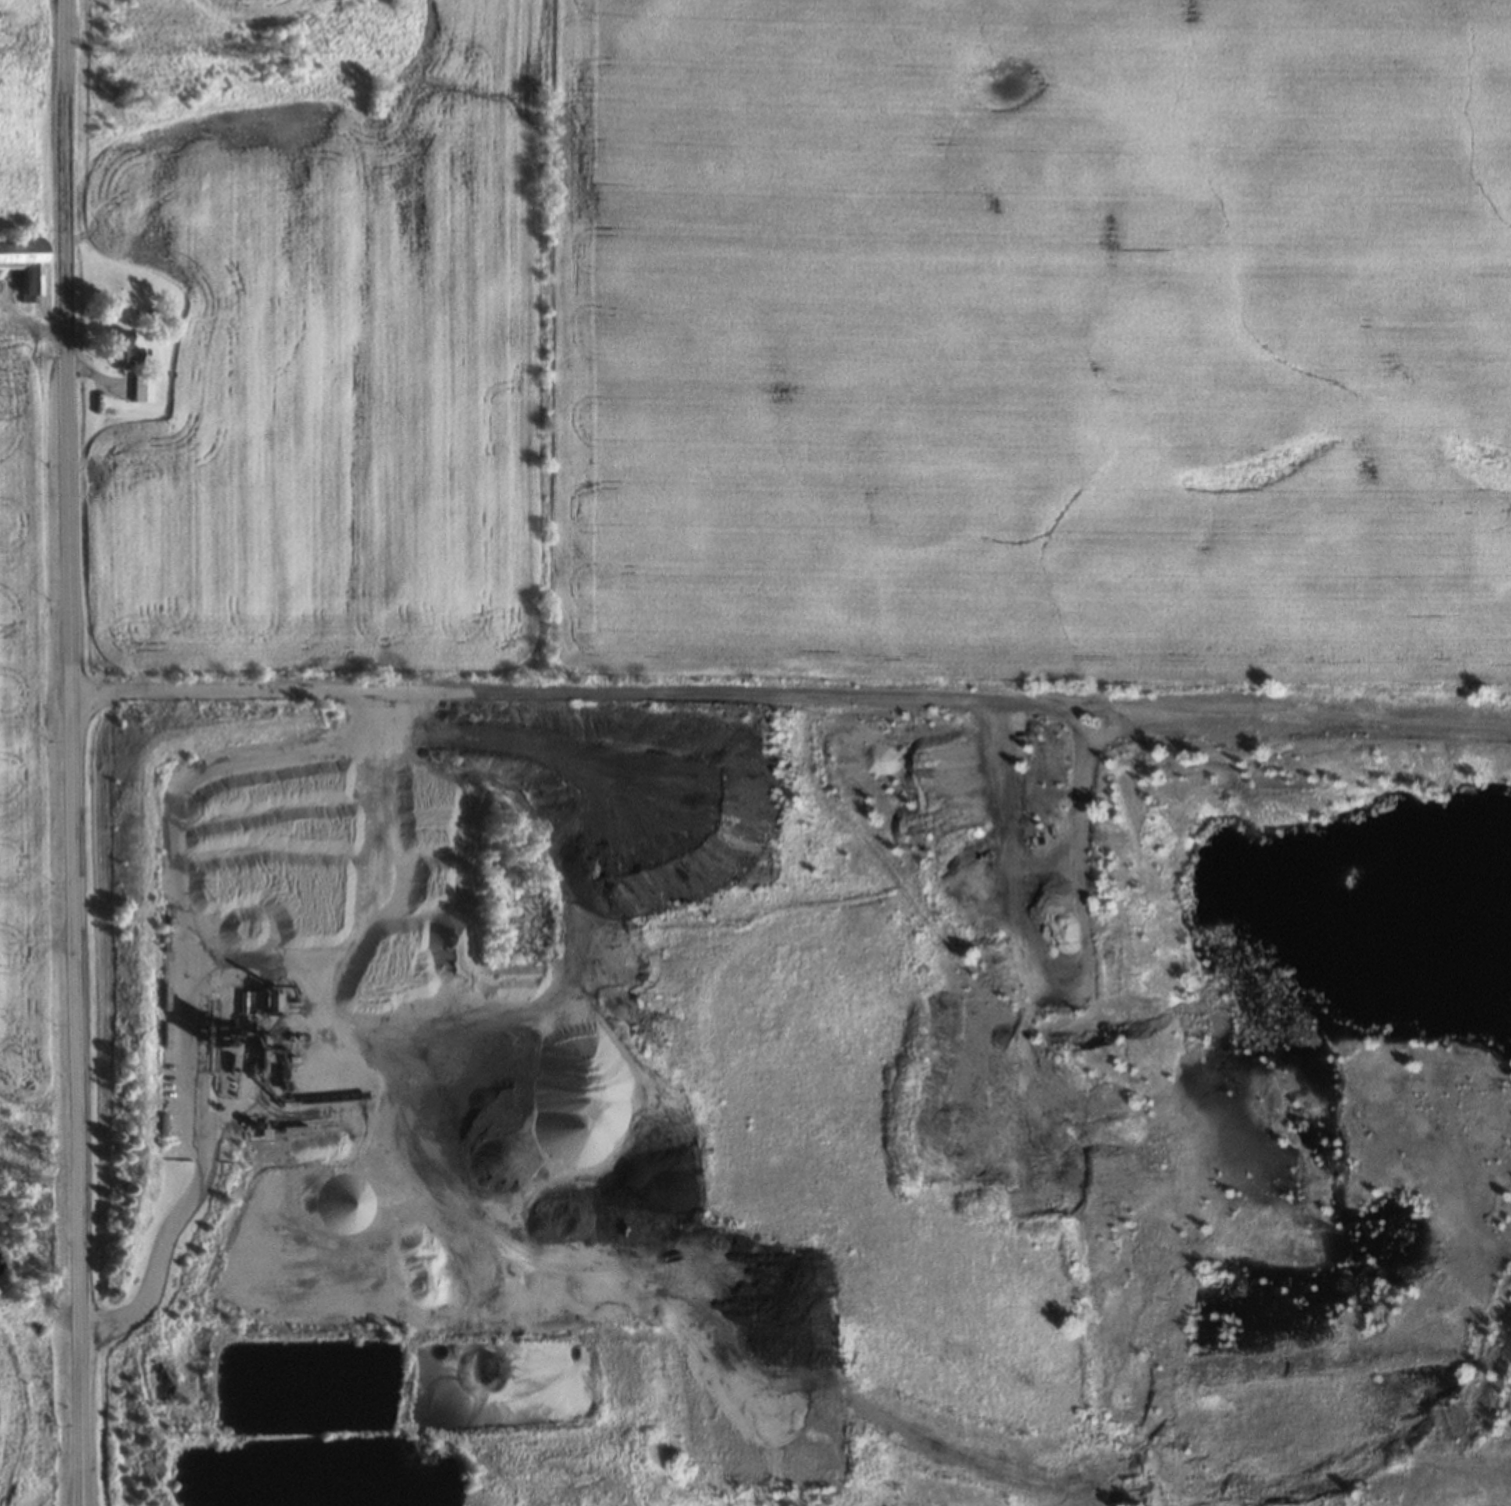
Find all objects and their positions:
building: (26, 260)
building: (122, 347)
building: (1, 348)
building: (143, 388)
road: (75, 752)
quarry: (796, 1091)

